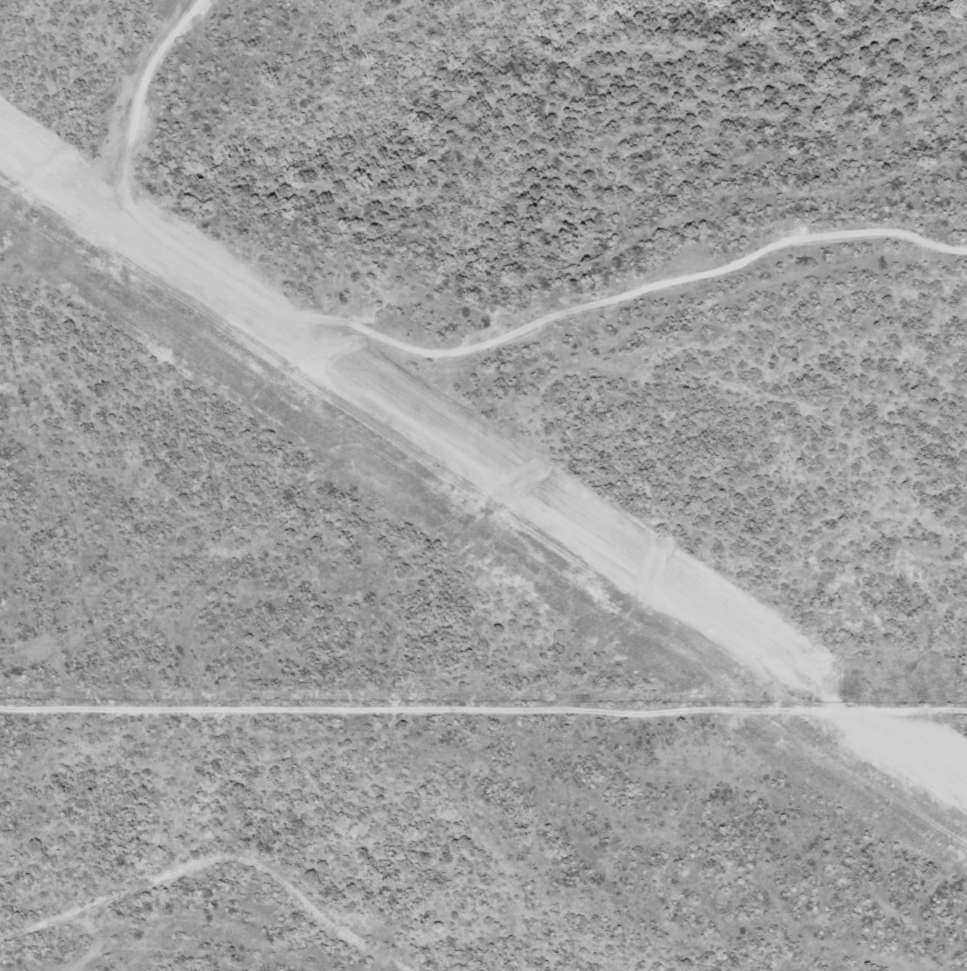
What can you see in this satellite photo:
road: (215, 859)

